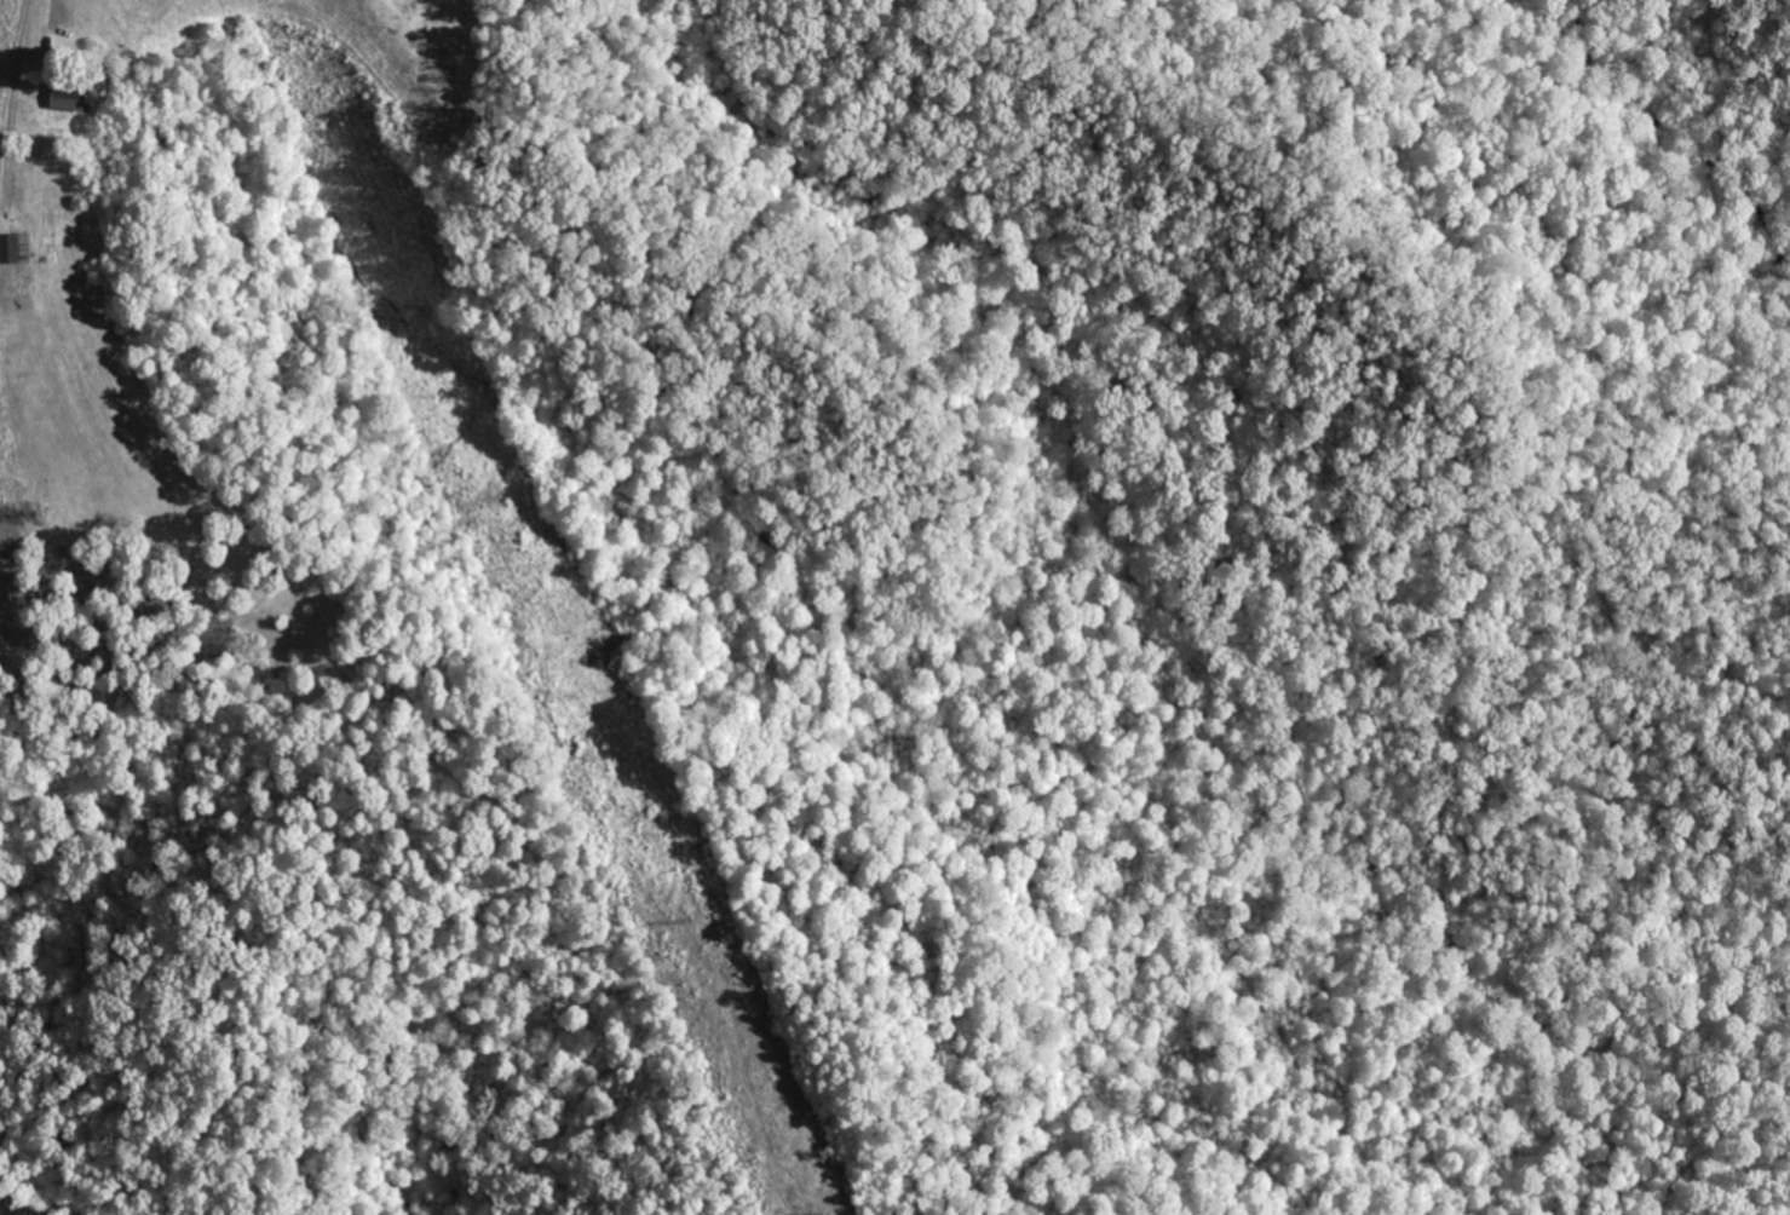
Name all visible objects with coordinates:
building: (63, 100)
building: (17, 248)

